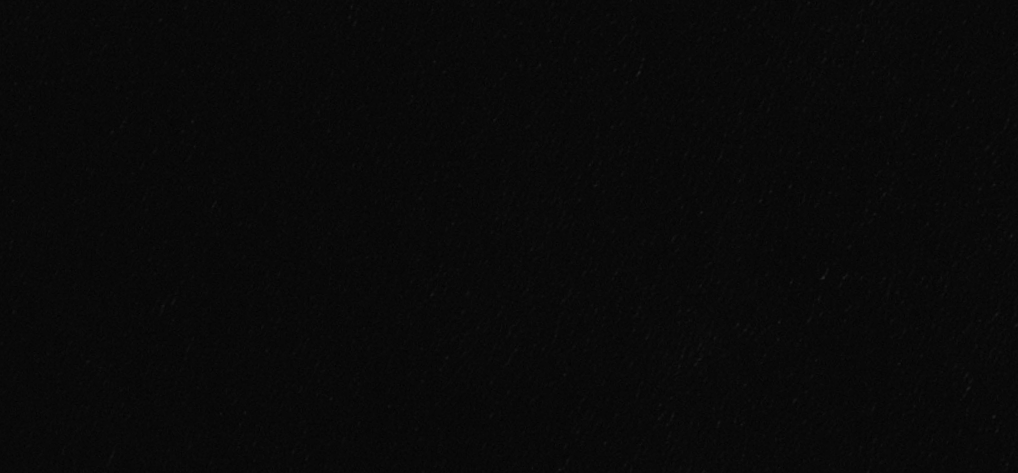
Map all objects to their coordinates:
river: (700, 13)
river: (806, 221)
river: (924, 444)

